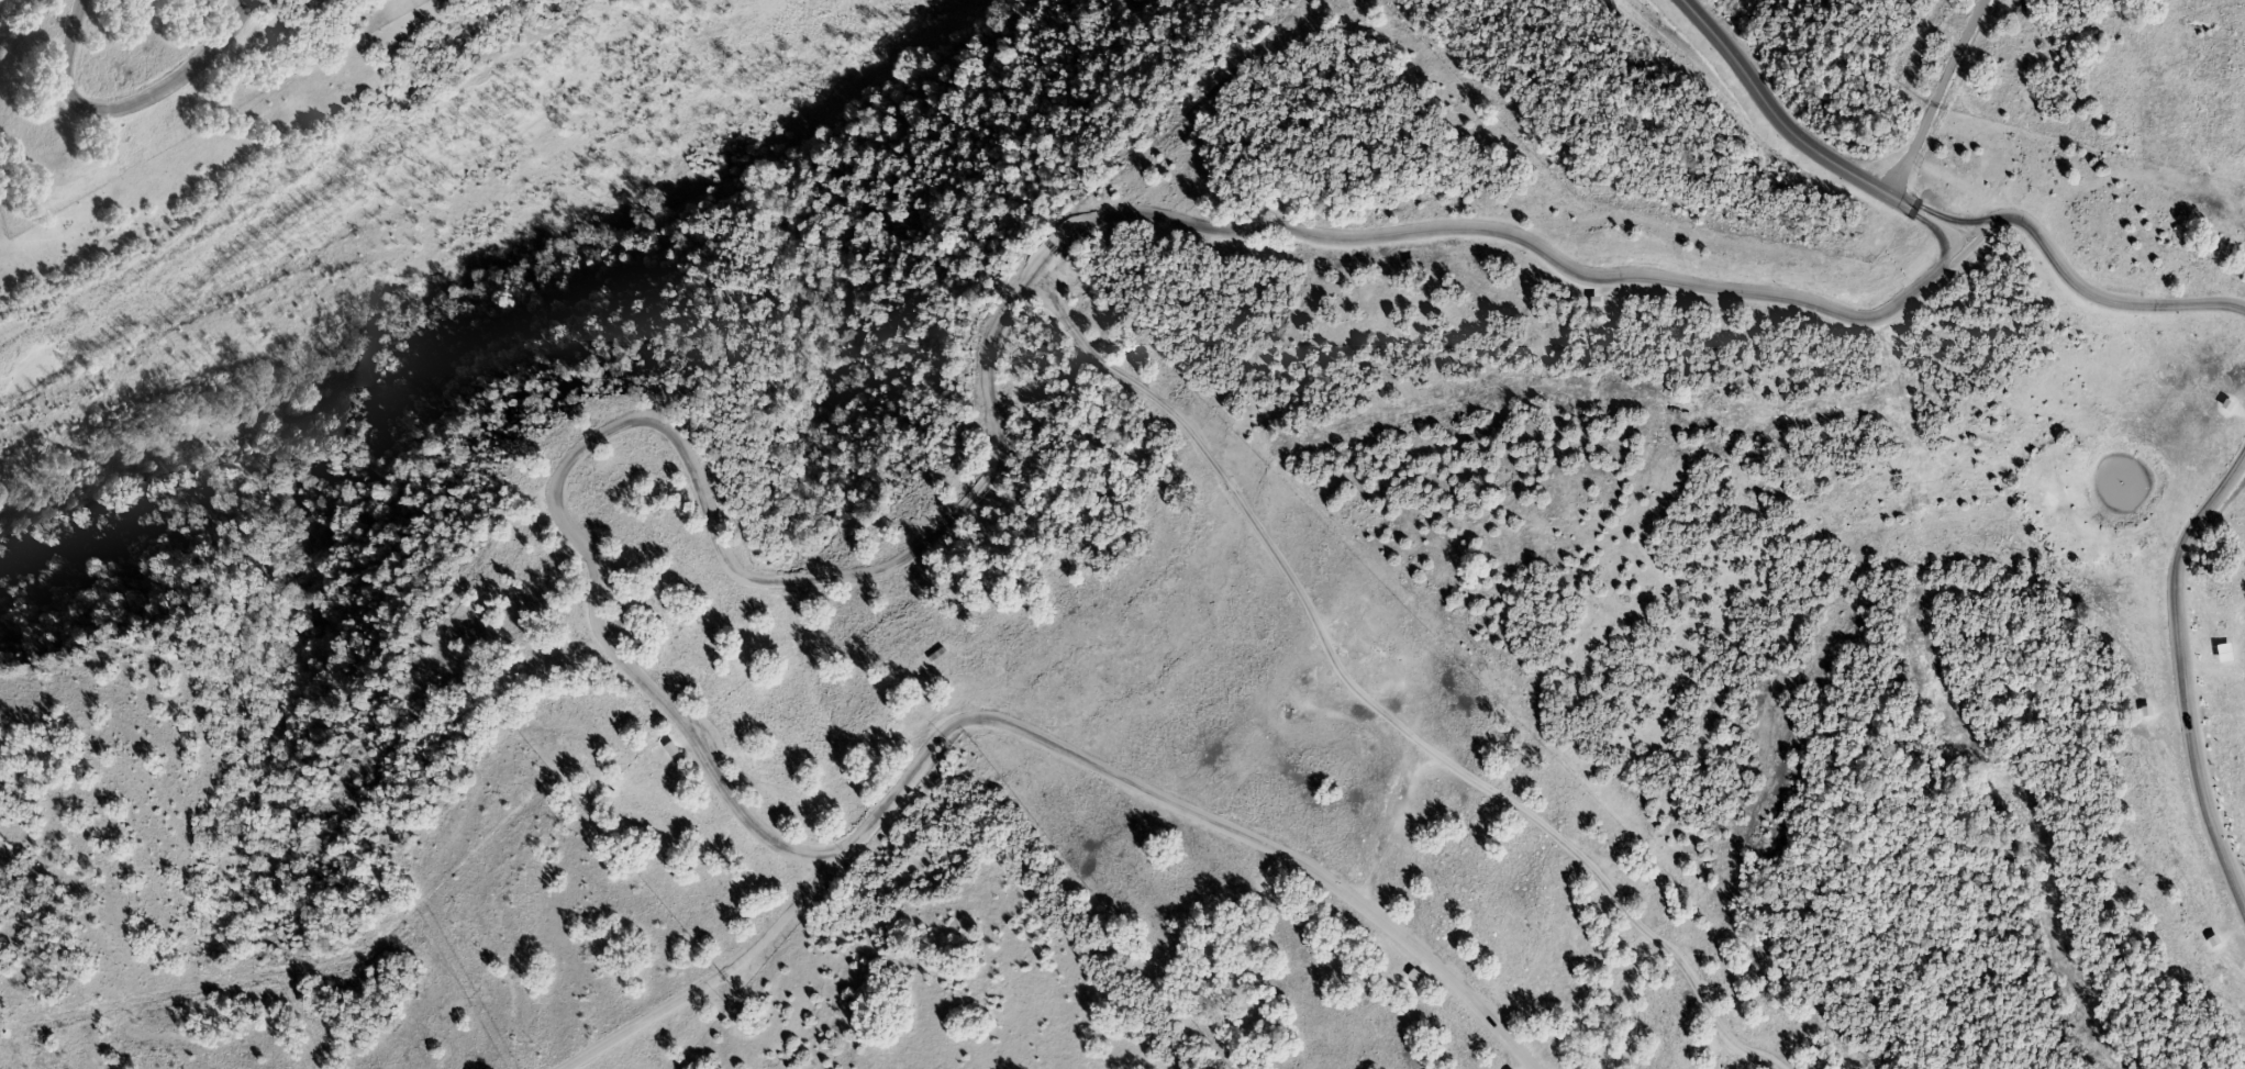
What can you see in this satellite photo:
road: (1936, 98)
road: (129, 101)
road: (1791, 134)
road: (1942, 226)
road: (818, 579)
road: (2186, 680)
road: (1369, 704)
road: (708, 734)
road: (710, 980)

